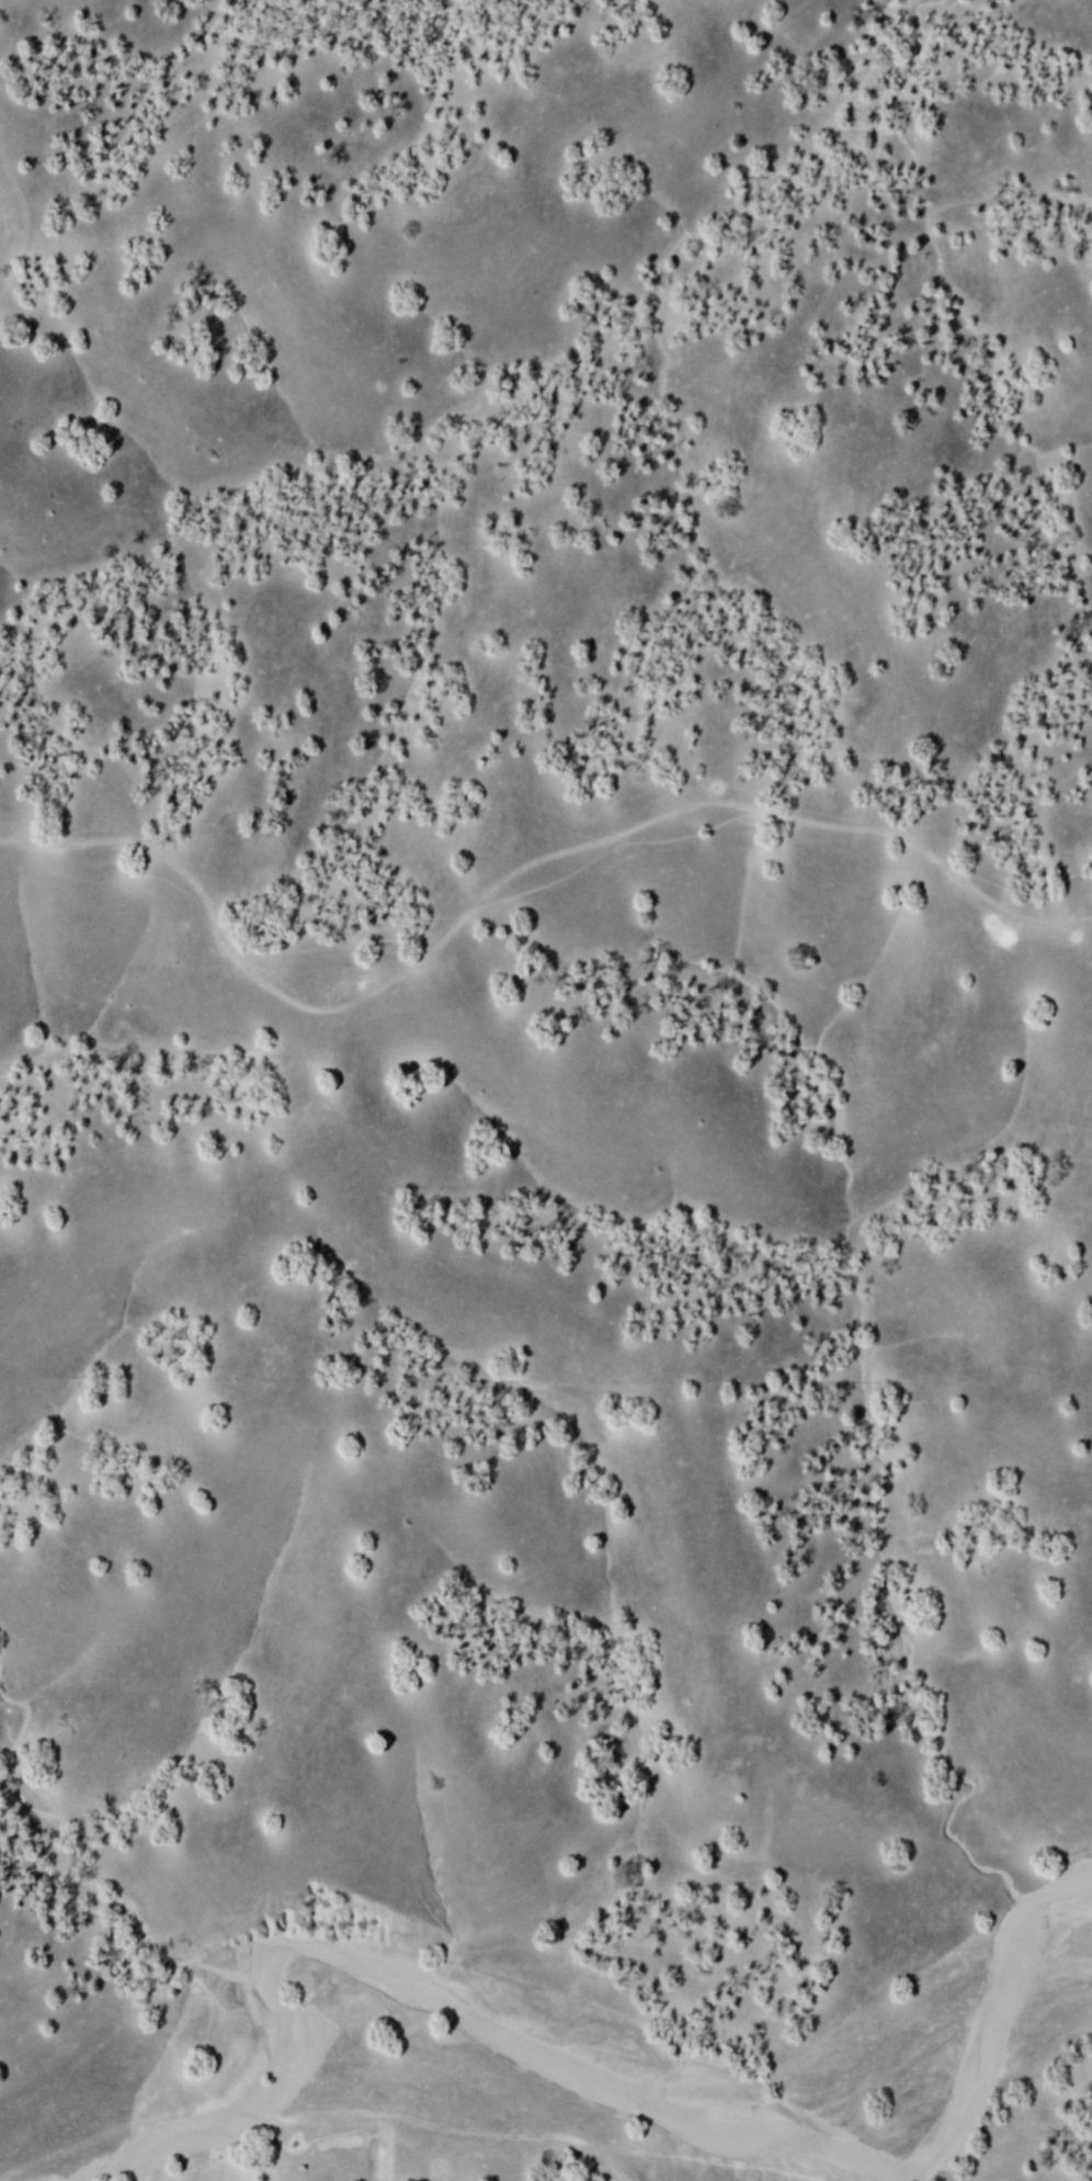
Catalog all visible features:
river: (592, 2080)
road: (458, 2128)

